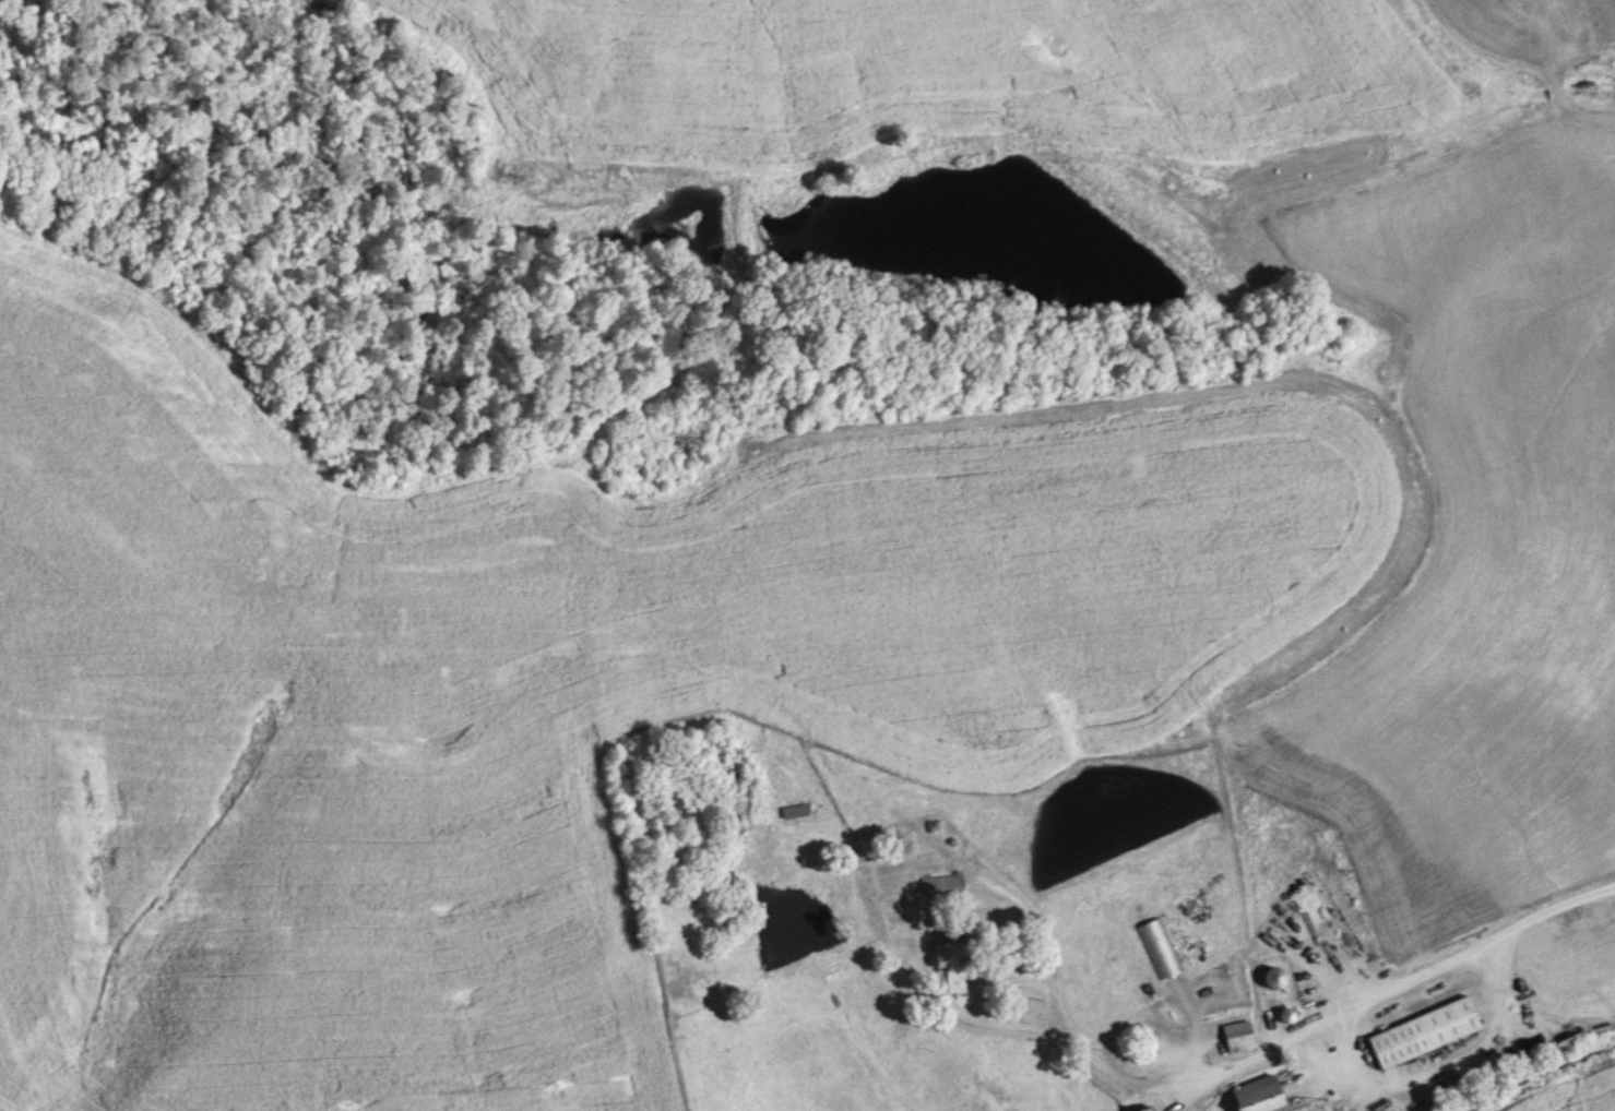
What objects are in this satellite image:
building: (794, 811)
building: (940, 884)
building: (1159, 947)
building: (947, 949)
building: (1272, 977)
road: (1362, 1004)
road: (1004, 1022)
building: (1422, 1032)
building: (1237, 1037)
road: (1441, 1058)
building: (1256, 1096)
building: (1144, 1108)

